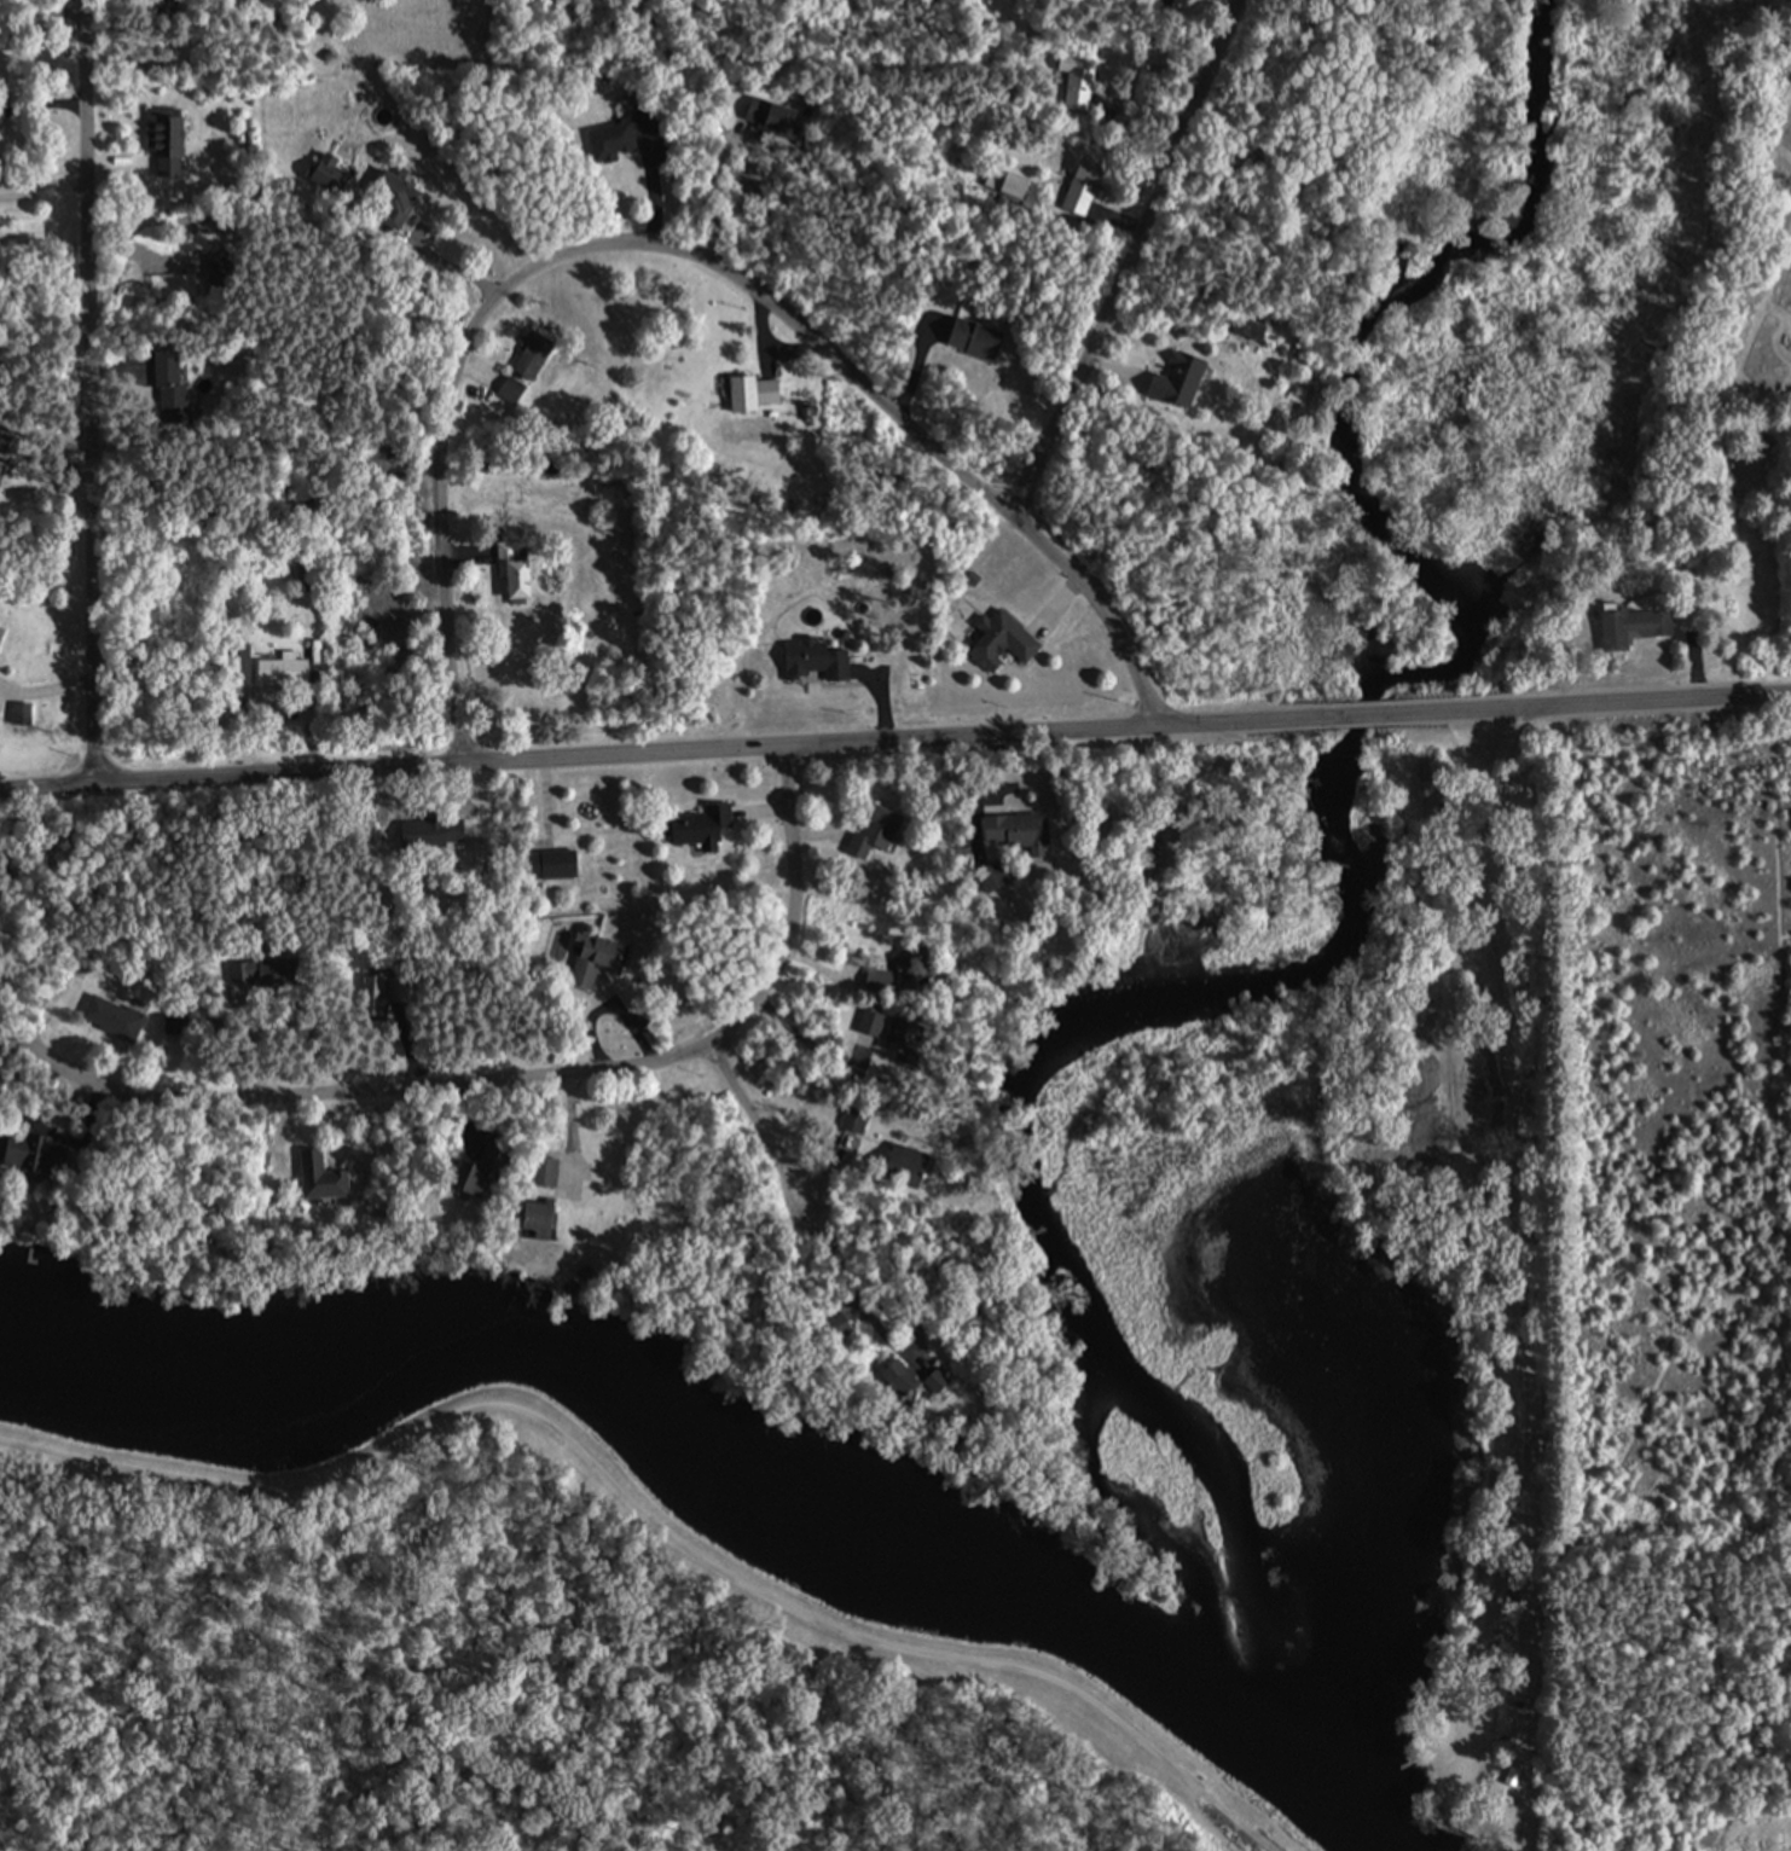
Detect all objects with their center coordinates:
building: (145, 5)
road: (41, 10)
road: (115, 31)
building: (1078, 77)
road: (41, 100)
road: (1144, 106)
building: (766, 114)
building: (616, 133)
building: (161, 139)
road: (116, 163)
building: (325, 178)
building: (999, 181)
road: (42, 184)
building: (1079, 185)
road: (654, 186)
building: (389, 192)
road: (712, 192)
road: (1077, 219)
road: (682, 249)
road: (416, 254)
road: (1129, 257)
building: (1245, 323)
road: (759, 332)
building: (970, 338)
road: (921, 347)
road: (789, 350)
building: (528, 358)
road: (115, 361)
building: (161, 362)
road: (475, 369)
road: (1109, 372)
building: (1175, 381)
building: (508, 388)
road: (87, 389)
building: (748, 391)
building: (169, 406)
building: (369, 460)
road: (464, 552)
building: (509, 569)
road: (1056, 605)
building: (1630, 626)
building: (0, 627)
building: (997, 640)
building: (813, 660)
building: (234, 669)
building: (280, 671)
road: (45, 690)
road: (880, 698)
road: (1588, 703)
building: (17, 713)
road: (1363, 713)
road: (245, 730)
road: (670, 750)
road: (992, 771)
road: (453, 789)
road: (545, 803)
road: (761, 811)
building: (696, 823)
building: (873, 830)
building: (1013, 830)
building: (430, 831)
road: (817, 832)
building: (958, 843)
building: (551, 864)
building: (990, 875)
building: (591, 957)
road: (818, 967)
building: (273, 971)
building: (914, 975)
building: (876, 979)
building: (379, 988)
building: (109, 1017)
building: (216, 1019)
building: (173, 1020)
road: (628, 1021)
building: (866, 1023)
building: (191, 1025)
road: (590, 1028)
road: (253, 1039)
building: (904, 1040)
road: (10, 1043)
road: (404, 1043)
road: (808, 1043)
road: (109, 1067)
road: (499, 1078)
road: (454, 1115)
road: (1407, 1116)
road: (298, 1119)
building: (852, 1119)
road: (760, 1124)
road: (570, 1133)
building: (30, 1155)
building: (900, 1165)
building: (543, 1170)
road: (829, 1171)
building: (477, 1172)
building: (315, 1177)
building: (532, 1219)
park: (1492, 1225)
road: (857, 1294)
road: (1530, 1305)
building: (836, 1324)
building: (933, 1379)
building: (894, 1381)
road: (656, 1516)
road: (1495, 1659)
road: (1438, 1772)

